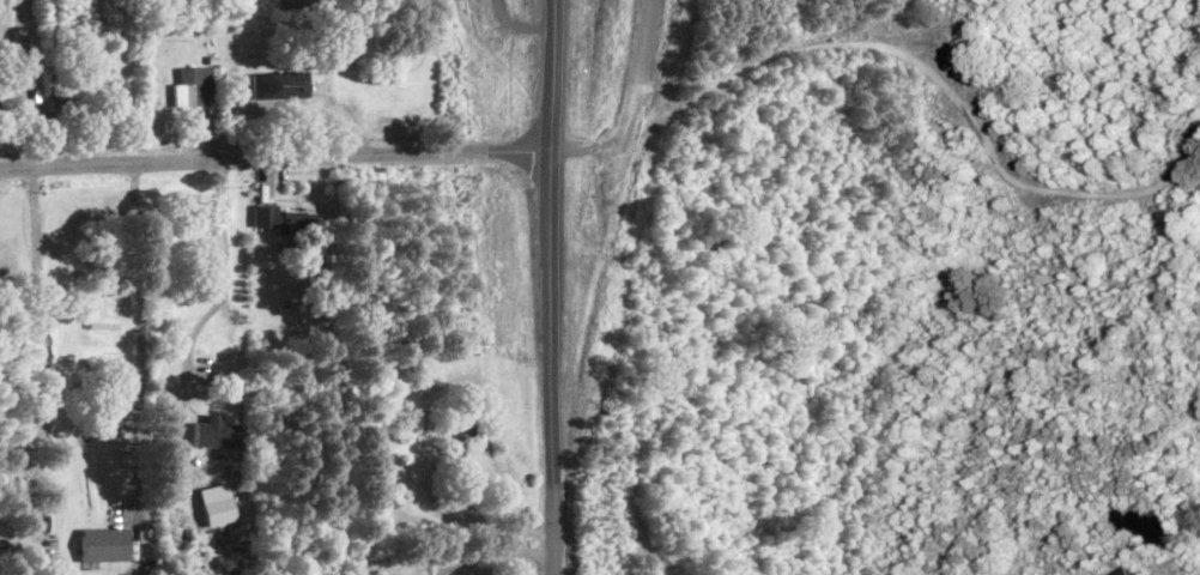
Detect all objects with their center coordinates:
building: (279, 83)
building: (190, 85)
road: (950, 85)
road: (635, 108)
road: (274, 158)
building: (284, 218)
road: (223, 282)
road: (551, 287)
road: (139, 340)
road: (36, 358)
building: (213, 431)
building: (216, 503)
building: (101, 543)
road: (492, 549)
building: (1121, 571)

